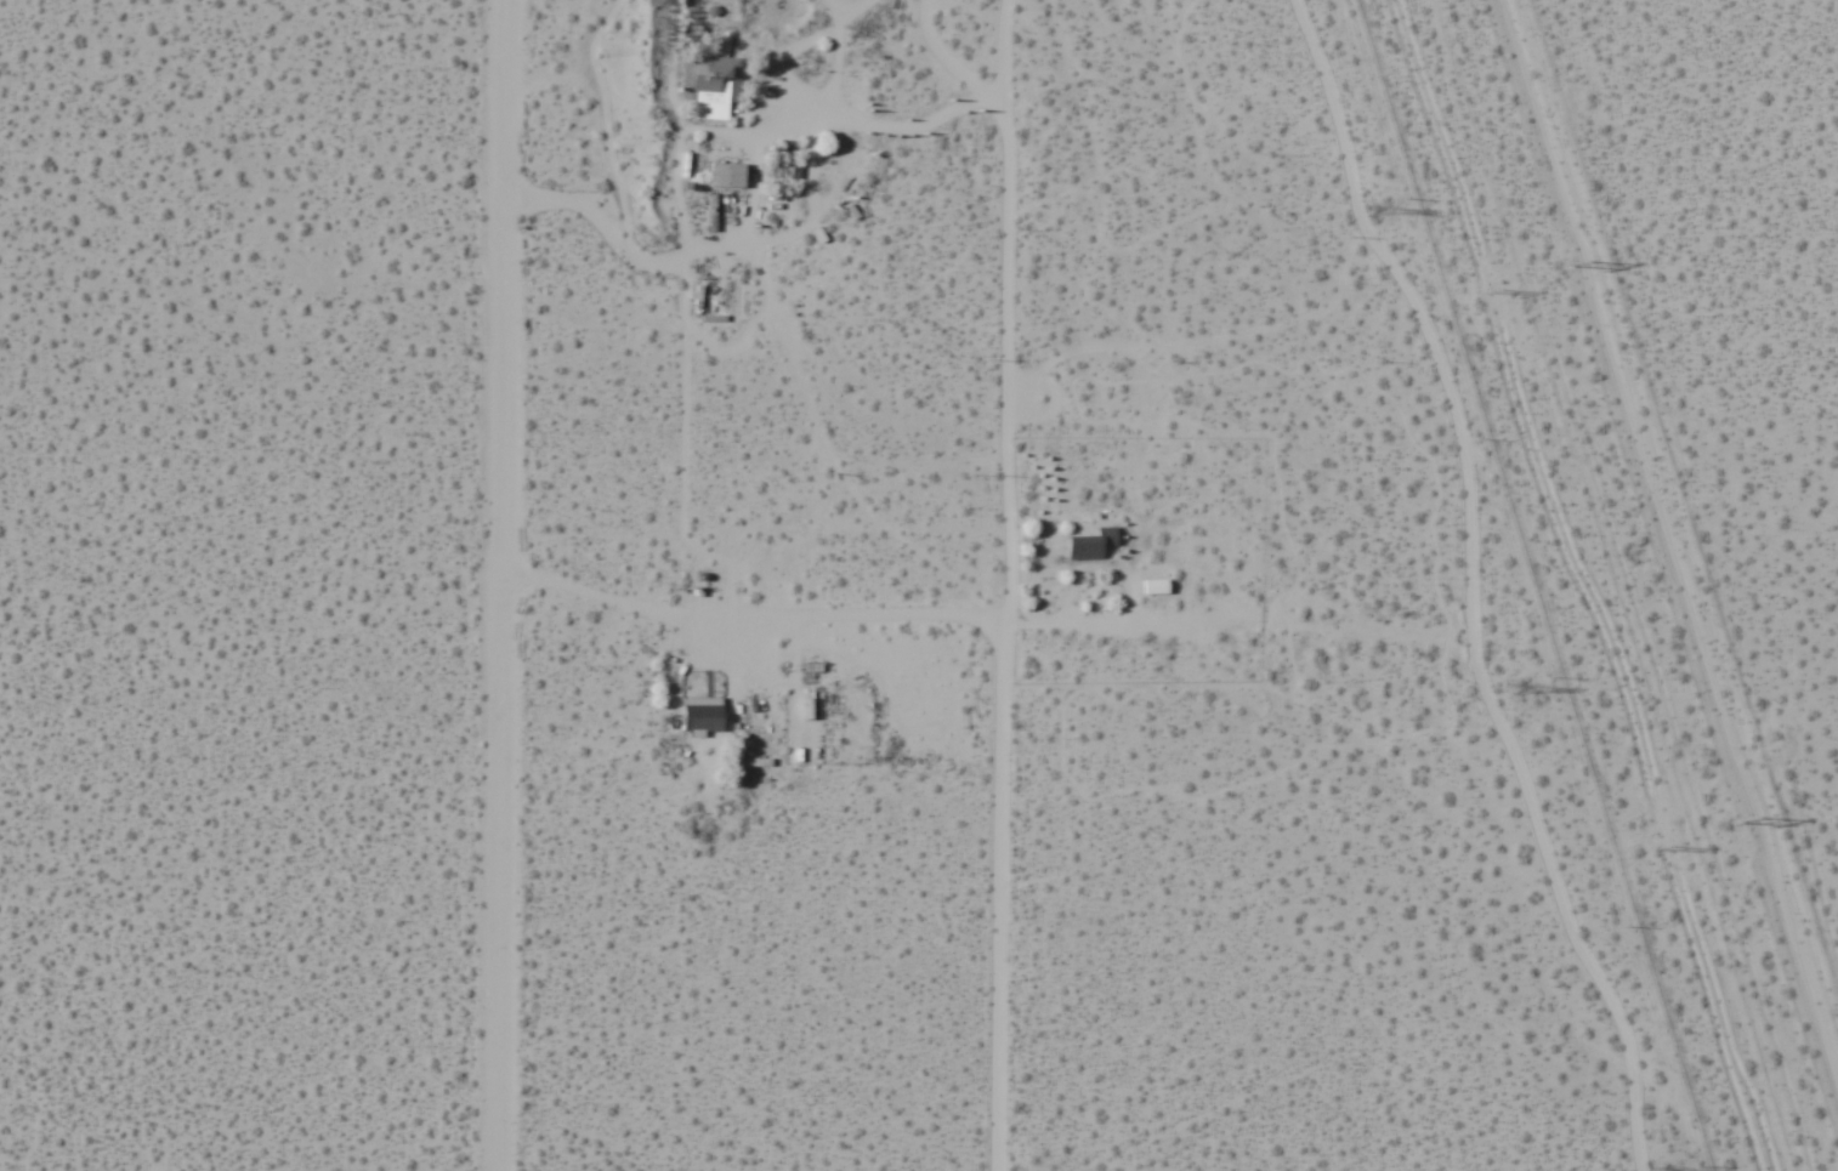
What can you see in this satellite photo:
building: (708, 86)
building: (726, 175)
power tower: (1374, 208)
power tower: (1564, 266)
power tower: (1501, 286)
building: (1091, 545)
road: (1664, 552)
power tower: (1524, 689)
building: (703, 714)
power tower: (1736, 823)
power tower: (1669, 837)
road: (999, 898)

